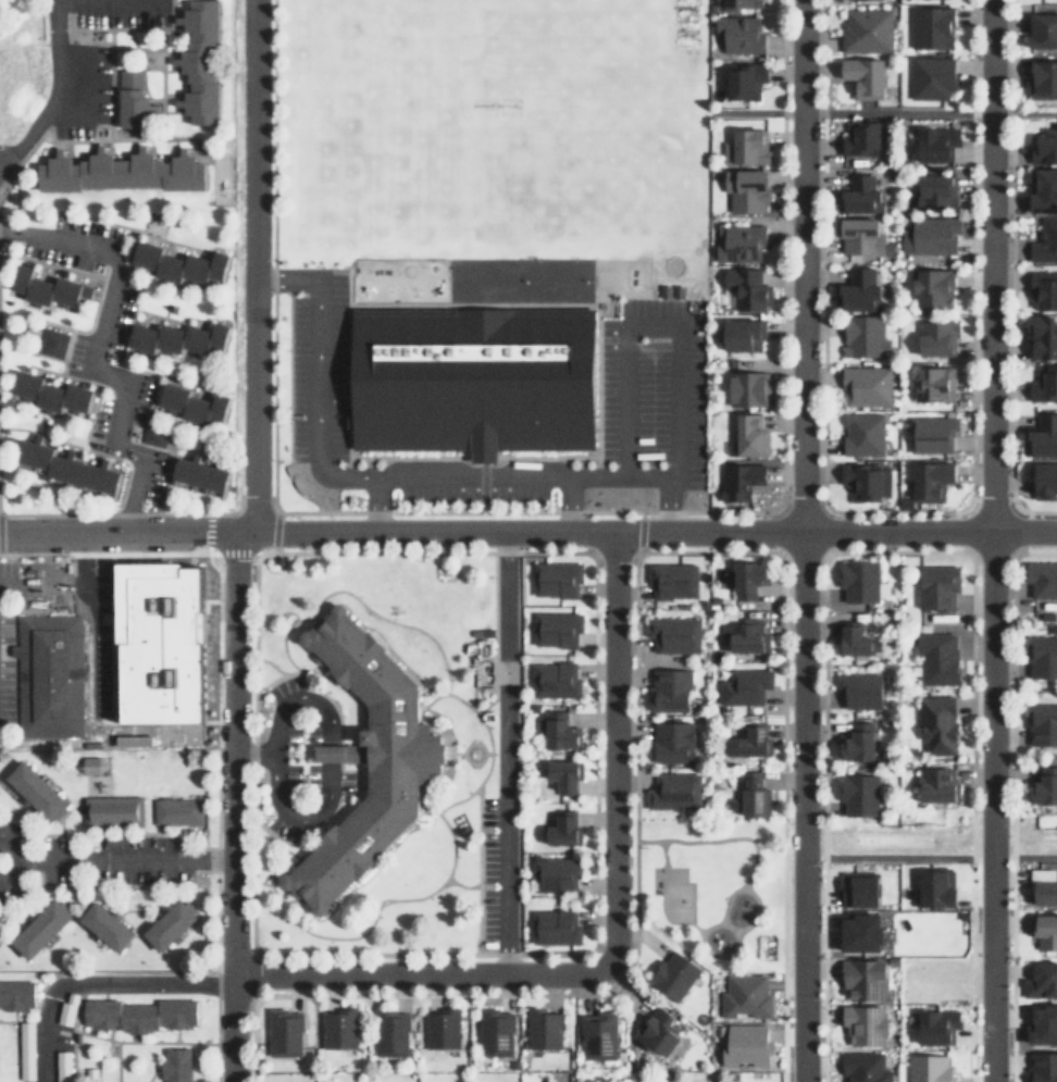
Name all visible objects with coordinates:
building: (869, 0)
building: (741, 3)
parking lot: (121, 12)
building: (929, 27)
building: (1042, 29)
building: (865, 30)
building: (739, 34)
road: (79, 38)
road: (163, 54)
building: (202, 63)
road: (137, 66)
building: (862, 76)
building: (929, 77)
building: (744, 78)
building: (1041, 80)
parking lot: (80, 88)
road: (52, 89)
building: (136, 99)
road: (882, 111)
road: (111, 116)
building: (862, 137)
road: (149, 138)
road: (182, 139)
building: (934, 142)
building: (1044, 145)
building: (747, 146)
building: (119, 170)
building: (1042, 187)
building: (745, 188)
building: (929, 191)
building: (857, 194)
park: (154, 222)
road: (142, 234)
building: (859, 235)
building: (928, 236)
building: (742, 240)
building: (1044, 241)
road: (780, 249)
road: (819, 249)
road: (968, 249)
road: (1008, 249)
road: (270, 256)
building: (179, 263)
building: (49, 287)
building: (932, 287)
building: (744, 288)
building: (1043, 288)
building: (861, 289)
road: (181, 321)
road: (655, 325)
road: (36, 327)
building: (741, 333)
building: (1041, 335)
building: (859, 336)
building: (934, 337)
building: (177, 339)
building: (53, 343)
road: (91, 363)
road: (62, 366)
road: (29, 368)
parking lot: (316, 369)
road: (147, 372)
building: (470, 380)
building: (1044, 382)
parking lot: (652, 383)
building: (931, 383)
building: (865, 384)
building: (747, 387)
building: (52, 394)
building: (196, 405)
building: (931, 432)
road: (41, 433)
building: (860, 433)
building: (1042, 435)
building: (749, 436)
building: (159, 438)
building: (69, 468)
building: (202, 475)
road: (391, 476)
building: (929, 477)
building: (1045, 480)
building: (737, 481)
building: (865, 481)
parking lot: (471, 494)
road: (568, 502)
road: (374, 503)
road: (539, 512)
road: (527, 531)
road: (833, 531)
road: (950, 531)
road: (1023, 531)
road: (202, 532)
road: (269, 532)
road: (635, 532)
road: (760, 532)
road: (238, 539)
road: (801, 540)
road: (988, 540)
road: (545, 551)
building: (555, 577)
building: (745, 577)
building: (1042, 577)
building: (673, 580)
building: (858, 581)
building: (935, 586)
road: (387, 620)
building: (555, 627)
road: (112, 634)
building: (673, 634)
building: (741, 634)
road: (493, 637)
building: (851, 638)
parking lot: (51, 641)
building: (161, 646)
road: (282, 649)
road: (252, 654)
building: (935, 657)
building: (1041, 658)
road: (271, 666)
building: (912, 669)
building: (50, 675)
building: (954, 676)
road: (276, 679)
building: (552, 679)
parking lot: (282, 685)
building: (744, 686)
road: (472, 687)
building: (669, 691)
building: (859, 691)
road: (252, 692)
road: (300, 698)
road: (329, 699)
road: (630, 700)
building: (935, 724)
building: (1042, 725)
parking lot: (291, 730)
parking lot: (311, 730)
building: (559, 730)
road: (327, 734)
building: (753, 738)
building: (134, 739)
road: (487, 739)
road: (472, 742)
building: (857, 742)
building: (671, 743)
road: (613, 748)
road: (253, 751)
road: (452, 751)
road: (486, 751)
road: (500, 754)
road: (273, 755)
road: (968, 758)
building: (363, 759)
road: (473, 761)
building: (92, 763)
road: (248, 763)
building: (563, 774)
parking lot: (311, 775)
road: (326, 775)
parking lot: (291, 776)
building: (935, 784)
road: (360, 785)
building: (1043, 787)
building: (34, 789)
building: (672, 792)
building: (857, 794)
building: (742, 795)
road: (18, 801)
road: (14, 804)
building: (175, 810)
building: (110, 811)
road: (213, 814)
road: (298, 814)
road: (251, 819)
road: (323, 819)
road: (57, 822)
road: (819, 822)
road: (1008, 822)
road: (779, 823)
road: (85, 828)
road: (163, 828)
building: (559, 828)
road: (449, 832)
road: (110, 833)
road: (712, 840)
road: (283, 848)
road: (894, 856)
road: (1022, 856)
road: (115, 858)
road: (477, 870)
parking lot: (488, 871)
building: (556, 873)
road: (251, 881)
road: (111, 884)
building: (1044, 884)
park: (707, 890)
building: (935, 890)
building: (856, 891)
road: (273, 892)
road: (73, 899)
road: (79, 905)
road: (136, 909)
road: (22, 910)
road: (157, 911)
road: (373, 911)
road: (115, 912)
road: (686, 918)
road: (749, 918)
building: (166, 924)
building: (554, 925)
building: (103, 926)
building: (38, 929)
building: (1045, 930)
building: (860, 931)
road: (589, 934)
road: (716, 953)
road: (572, 967)
building: (671, 974)
road: (420, 977)
building: (865, 979)
building: (1042, 980)
road: (96, 982)
building: (15, 995)
road: (497, 995)
building: (742, 996)
building: (138, 1015)
road: (12, 1017)
road: (73, 1017)
road: (15, 1021)
building: (865, 1022)
building: (1043, 1023)
building: (941, 1024)
building: (542, 1025)
building: (442, 1027)
building: (339, 1028)
building: (283, 1029)
road: (247, 1030)
road: (571, 1030)
building: (389, 1031)
building: (495, 1031)
building: (657, 1031)
building: (597, 1034)
road: (175, 1035)
road: (137, 1037)
road: (132, 1041)
road: (969, 1044)
building: (743, 1047)
road: (17, 1049)
road: (116, 1061)
building: (174, 1065)
building: (863, 1068)
building: (932, 1068)
building: (1043, 1068)
road: (150, 1073)

